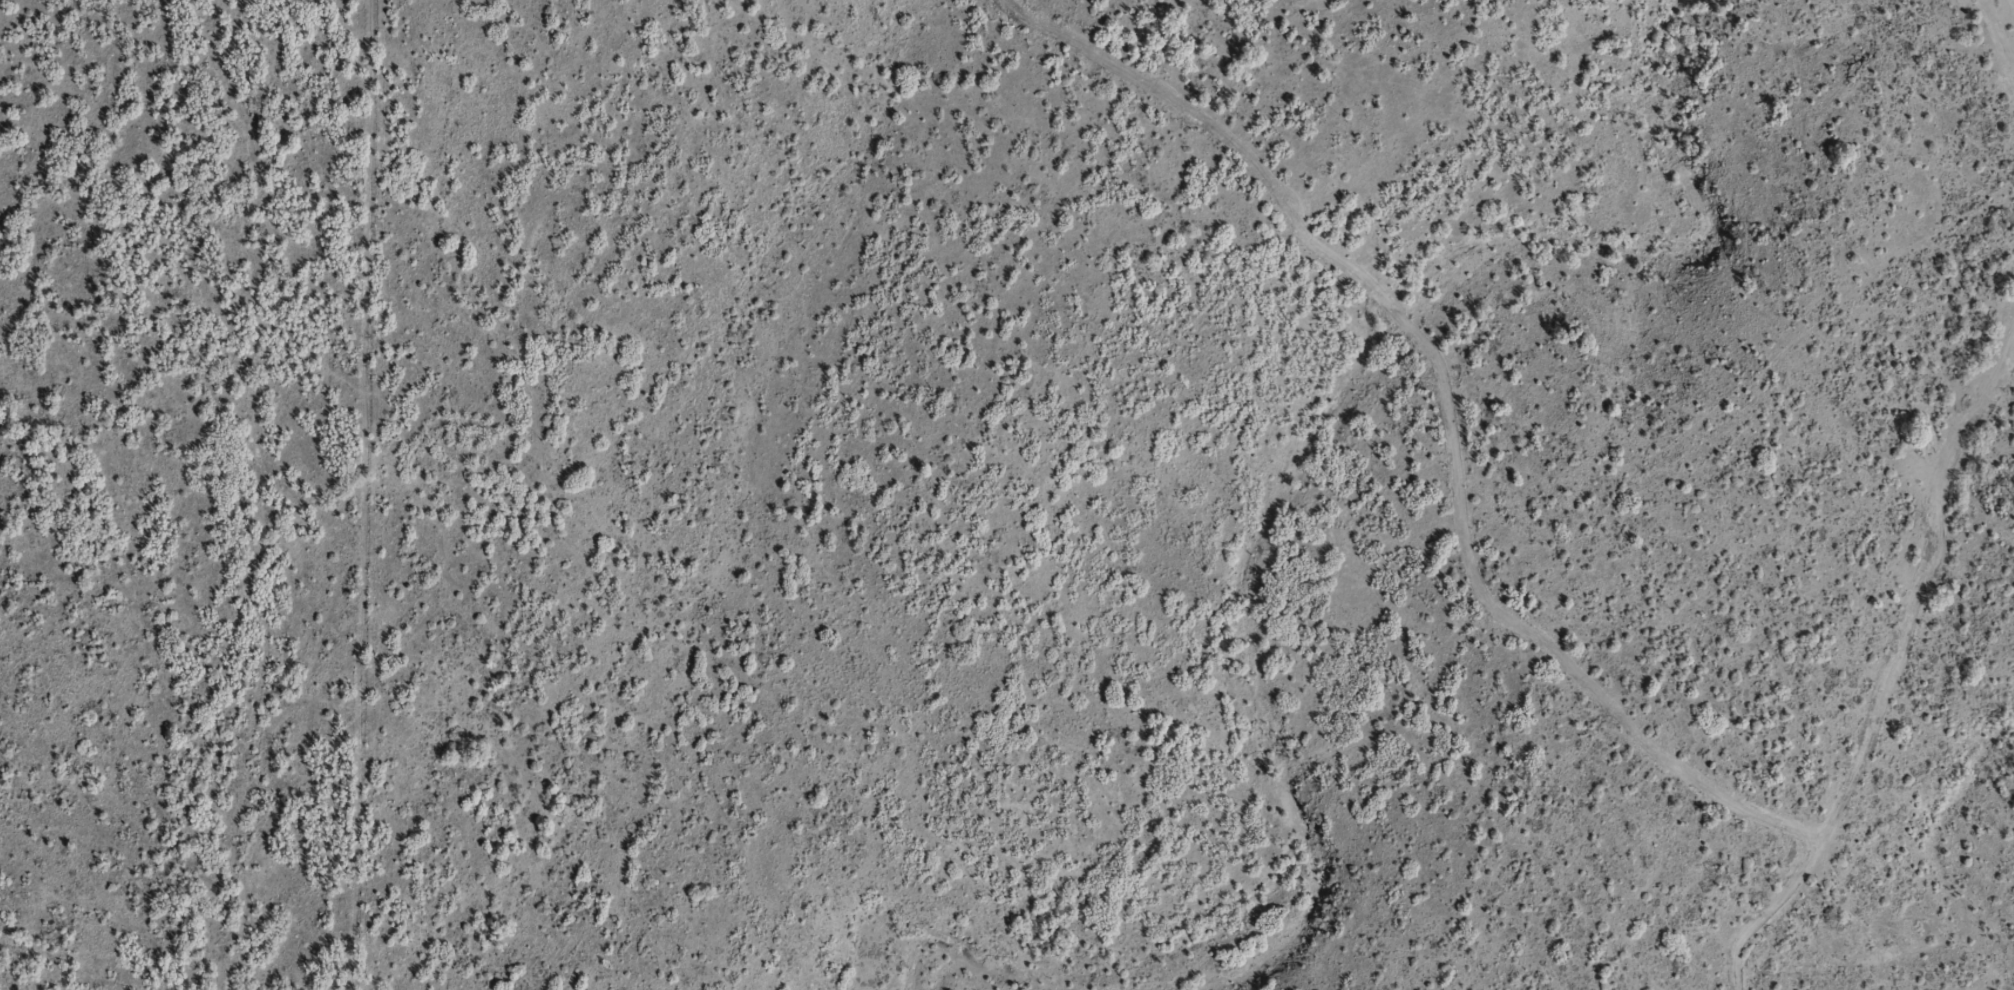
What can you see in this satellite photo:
road: (1984, 32)
road: (1933, 689)

